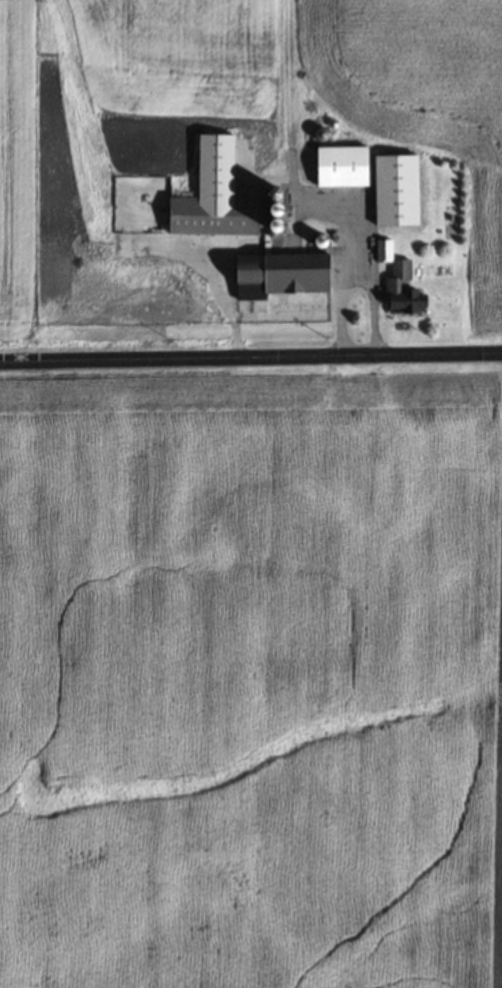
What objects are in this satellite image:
building: (338, 167)
building: (393, 191)
building: (210, 196)
building: (396, 284)
building: (278, 289)
road: (251, 360)

